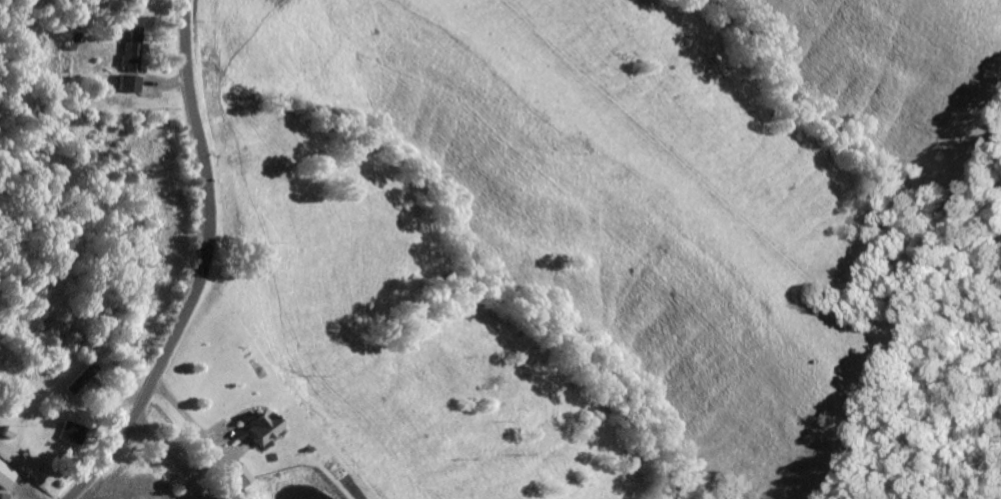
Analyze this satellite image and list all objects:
building: (132, 48)
building: (131, 82)
road: (187, 267)
building: (263, 426)
building: (74, 431)
building: (8, 474)
building: (245, 479)

